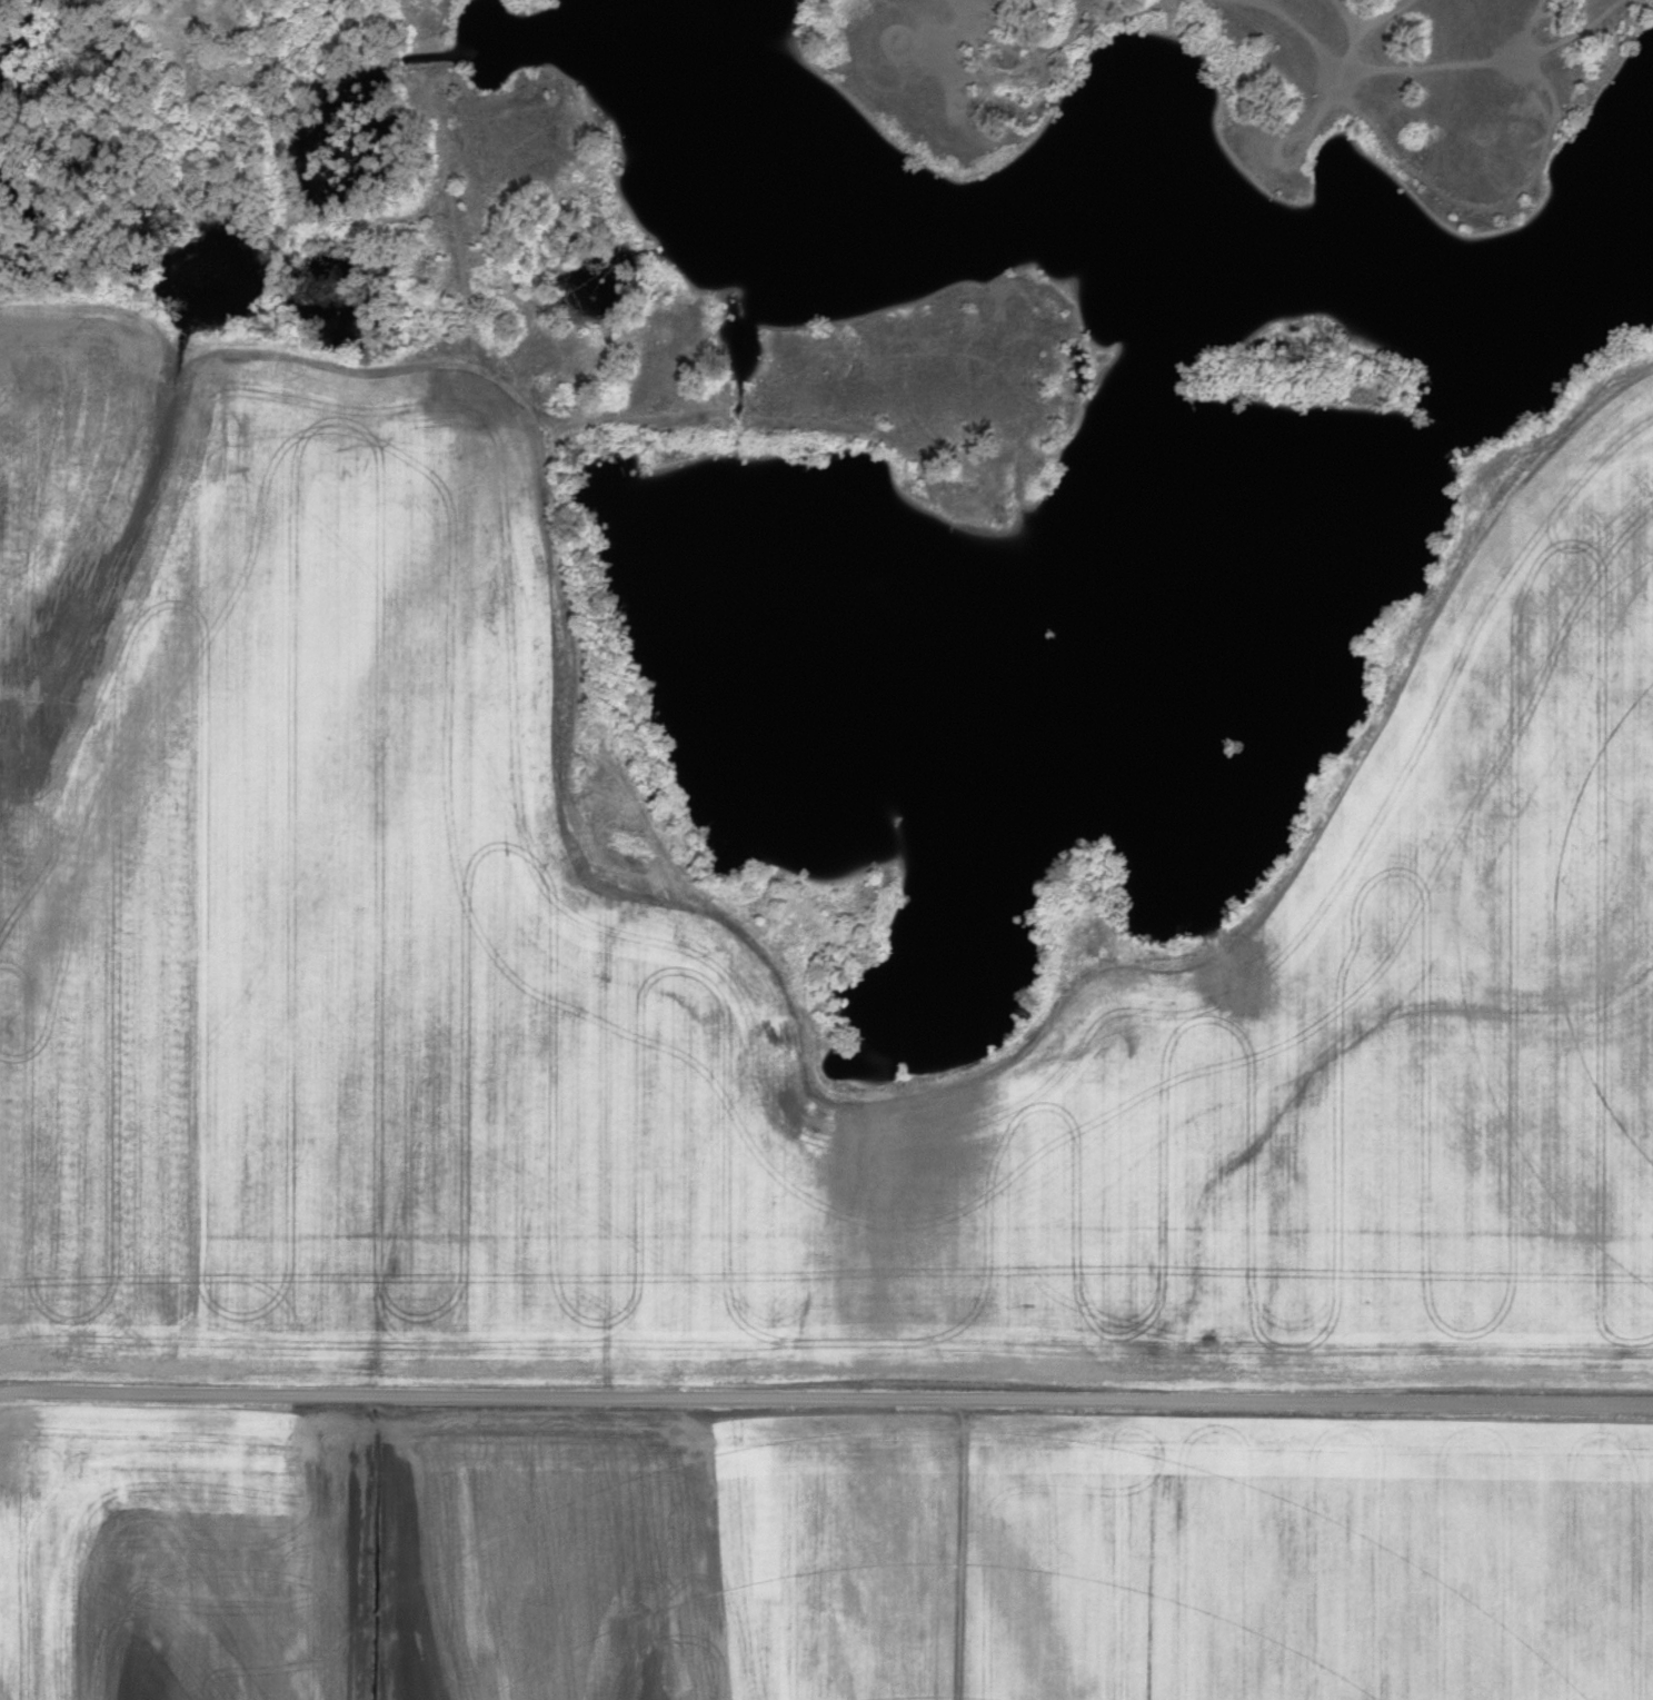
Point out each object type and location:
road: (1206, 0)
road: (968, 1)
road: (401, 11)
road: (914, 18)
road: (1533, 29)
road: (993, 41)
road: (1324, 56)
road: (967, 80)
road: (288, 181)
road: (1468, 206)
road: (558, 421)
road: (21, 1393)
road: (848, 1400)

